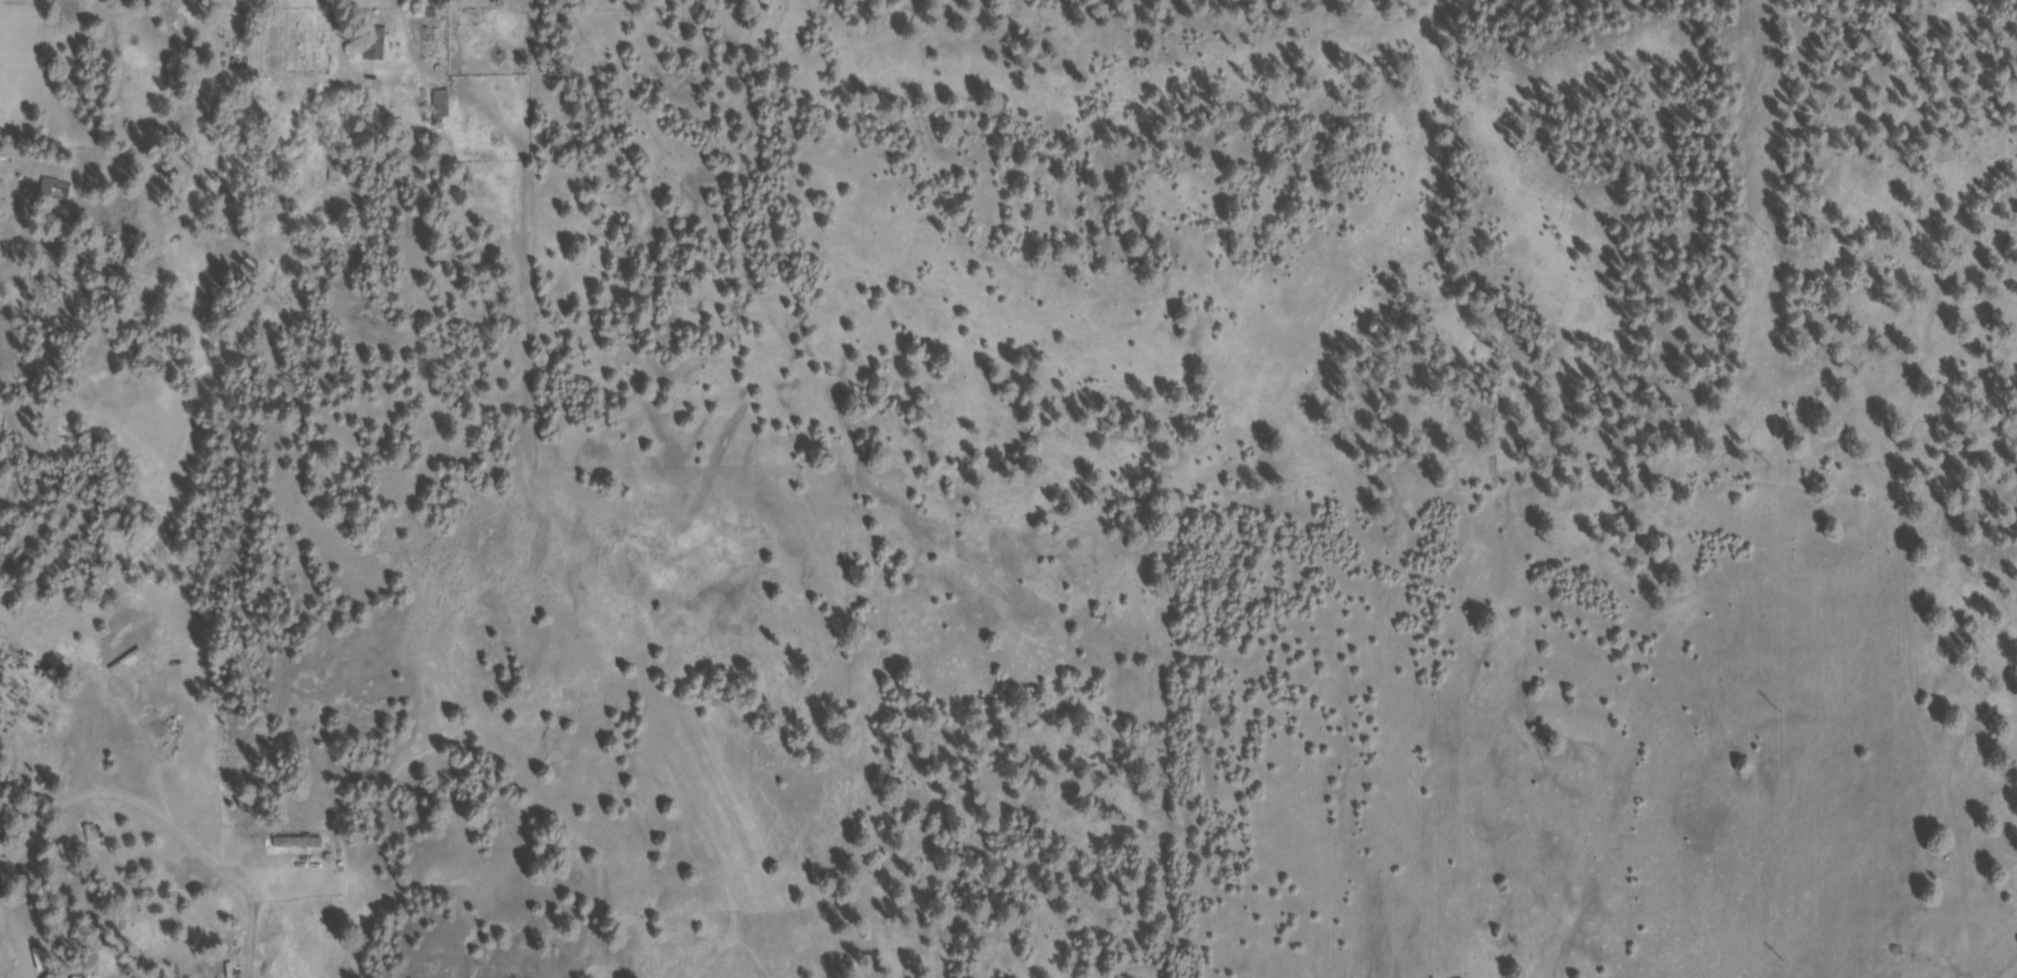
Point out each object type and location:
building: (378, 46)
building: (444, 110)
building: (7, 161)
building: (58, 191)
building: (301, 844)

